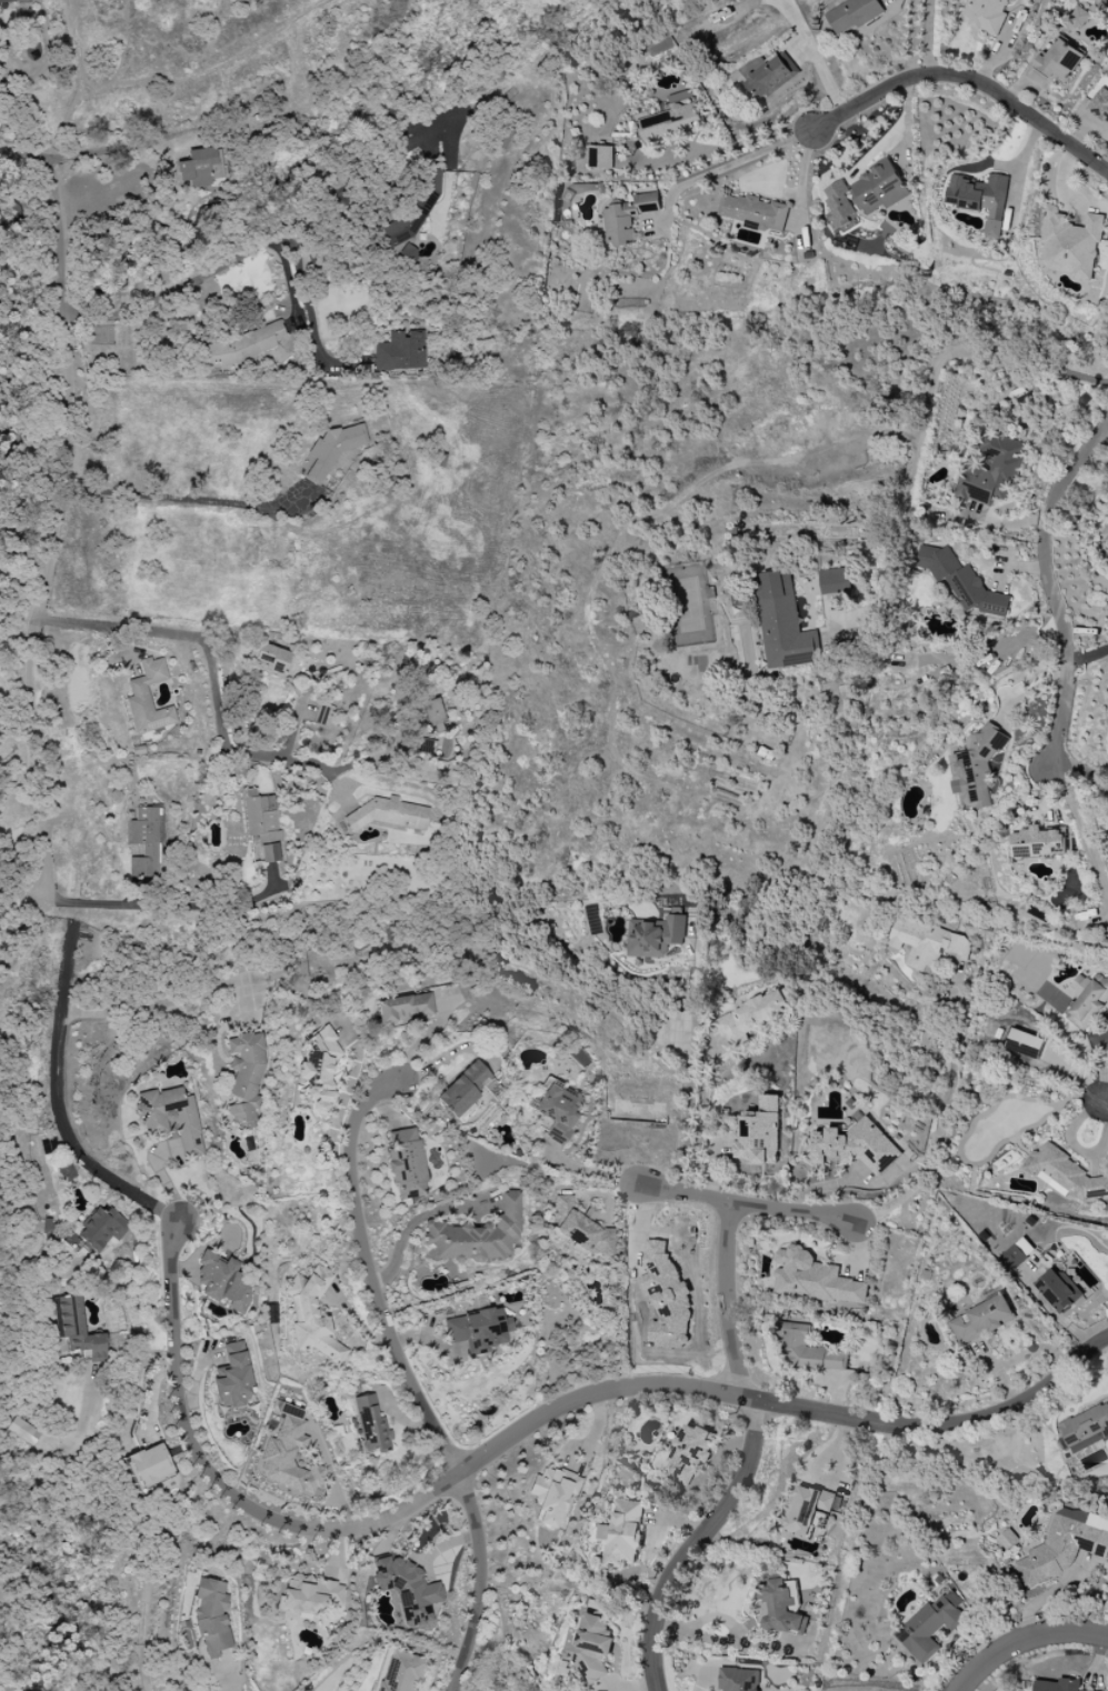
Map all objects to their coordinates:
building: (14, 2)
building: (852, 14)
building: (987, 14)
building: (1079, 18)
road: (929, 38)
road: (812, 57)
building: (1059, 61)
building: (767, 74)
road: (968, 81)
building: (1100, 106)
building: (669, 119)
road: (749, 141)
road: (137, 144)
road: (22, 156)
building: (600, 157)
road: (725, 168)
road: (1021, 177)
building: (430, 184)
building: (866, 193)
building: (981, 199)
building: (752, 211)
building: (628, 218)
building: (401, 238)
road: (257, 242)
building: (1070, 244)
road: (306, 306)
building: (243, 346)
building: (400, 351)
road: (1051, 369)
building: (332, 449)
road: (916, 463)
building: (991, 470)
road: (186, 499)
road: (53, 532)
building: (1105, 536)
building: (1107, 562)
building: (835, 581)
building: (961, 581)
road: (1049, 584)
building: (783, 623)
road: (1087, 657)
building: (271, 659)
road: (212, 667)
building: (148, 698)
building: (323, 714)
building: (433, 716)
road: (315, 763)
building: (976, 768)
building: (391, 816)
building: (261, 823)
road: (1082, 833)
building: (1038, 842)
building: (143, 843)
road: (222, 908)
road: (47, 910)
building: (655, 937)
building: (927, 943)
building: (1088, 1000)
building: (405, 1009)
building: (749, 1018)
building: (1025, 1043)
road: (693, 1051)
road: (442, 1055)
road: (56, 1057)
building: (317, 1071)
building: (246, 1078)
building: (463, 1089)
road: (1107, 1101)
building: (556, 1111)
road: (701, 1114)
building: (171, 1119)
road: (941, 1130)
building: (758, 1133)
building: (854, 1145)
road: (1084, 1150)
building: (406, 1163)
building: (66, 1172)
road: (590, 1172)
building: (1064, 1173)
road: (163, 1177)
road: (748, 1205)
building: (581, 1228)
building: (100, 1229)
building: (477, 1235)
road: (400, 1237)
building: (1016, 1254)
building: (812, 1278)
building: (222, 1282)
building: (1059, 1290)
building: (667, 1297)
road: (731, 1299)
building: (311, 1315)
building: (981, 1320)
building: (76, 1329)
building: (479, 1330)
building: (806, 1351)
building: (233, 1379)
road: (408, 1380)
building: (370, 1425)
road: (522, 1425)
building: (1086, 1429)
building: (21, 1431)
building: (689, 1454)
building: (289, 1457)
building: (149, 1464)
building: (552, 1493)
building: (807, 1508)
road: (123, 1524)
building: (623, 1534)
building: (1007, 1539)
road: (698, 1540)
building: (1064, 1545)
building: (409, 1590)
building: (309, 1593)
building: (783, 1607)
building: (211, 1617)
building: (929, 1625)
road: (1026, 1641)
building: (593, 1647)
building: (400, 1672)
building: (739, 1680)
building: (1058, 1685)

